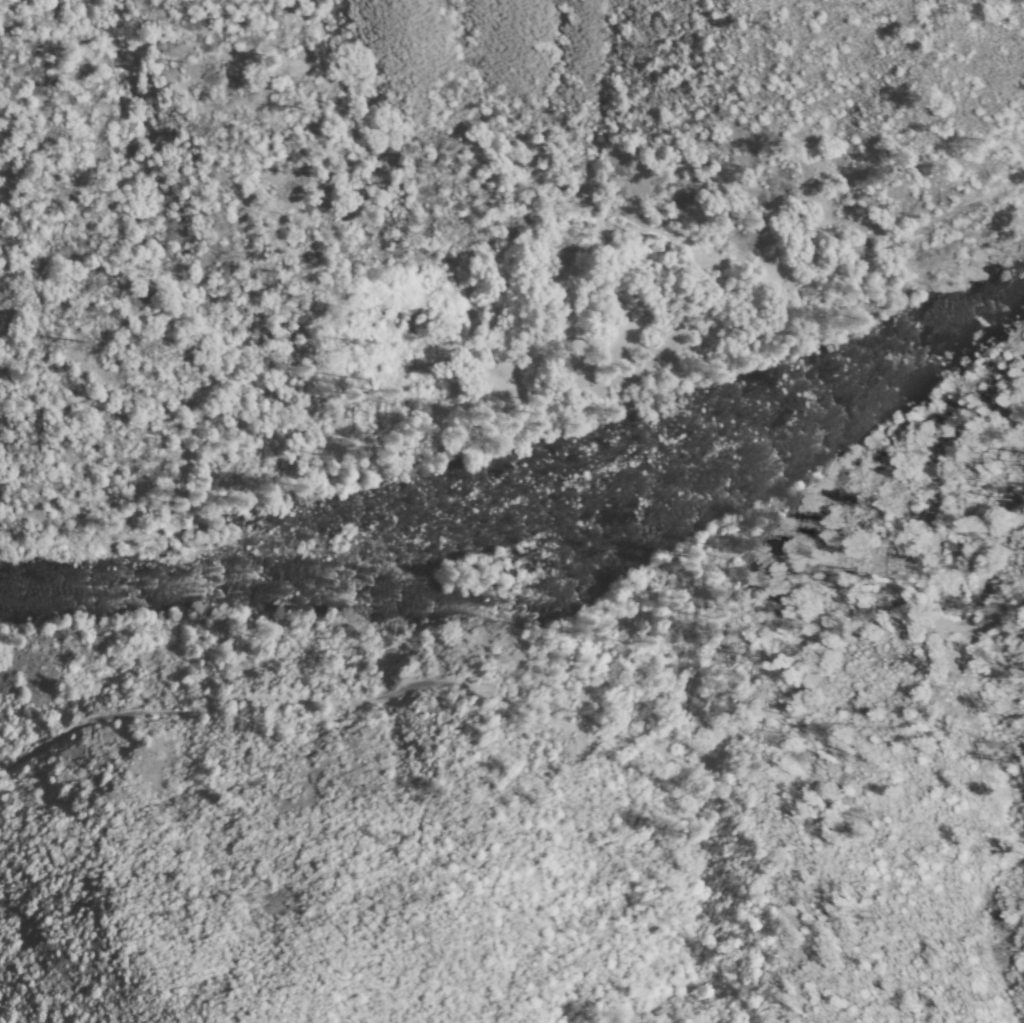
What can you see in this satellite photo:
road: (902, 230)
river: (551, 561)
road: (556, 716)

